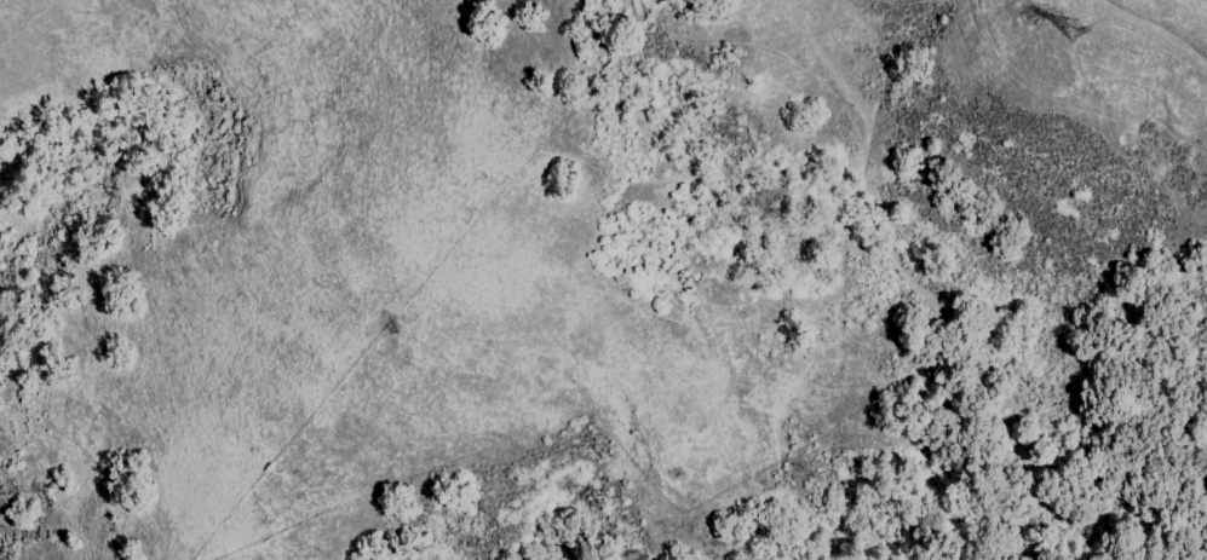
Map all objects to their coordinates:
power tower: (1070, 28)

